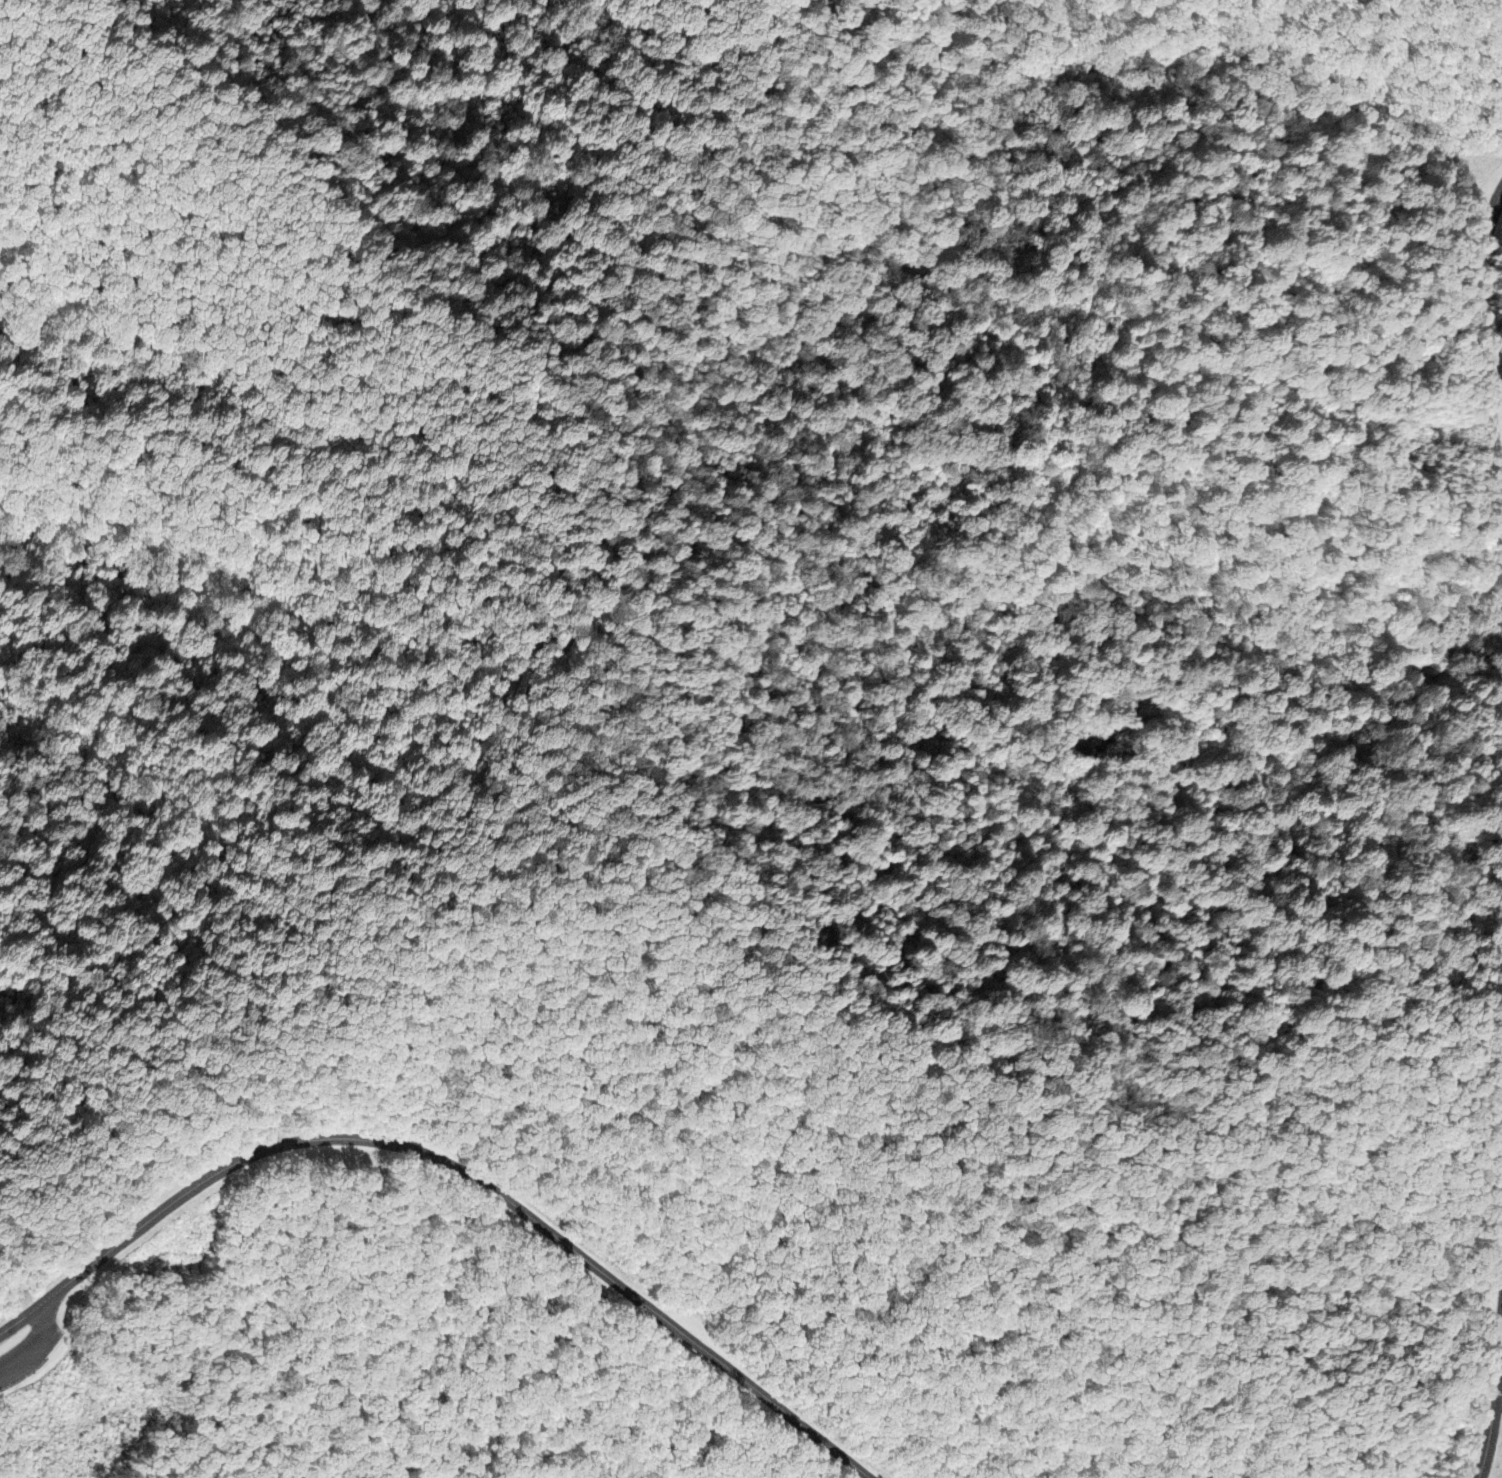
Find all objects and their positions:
road: (1484, 326)
road: (456, 1165)
road: (64, 1333)
road: (36, 1346)
parking lot: (29, 1352)
road: (1501, 1386)
road: (1496, 1421)

